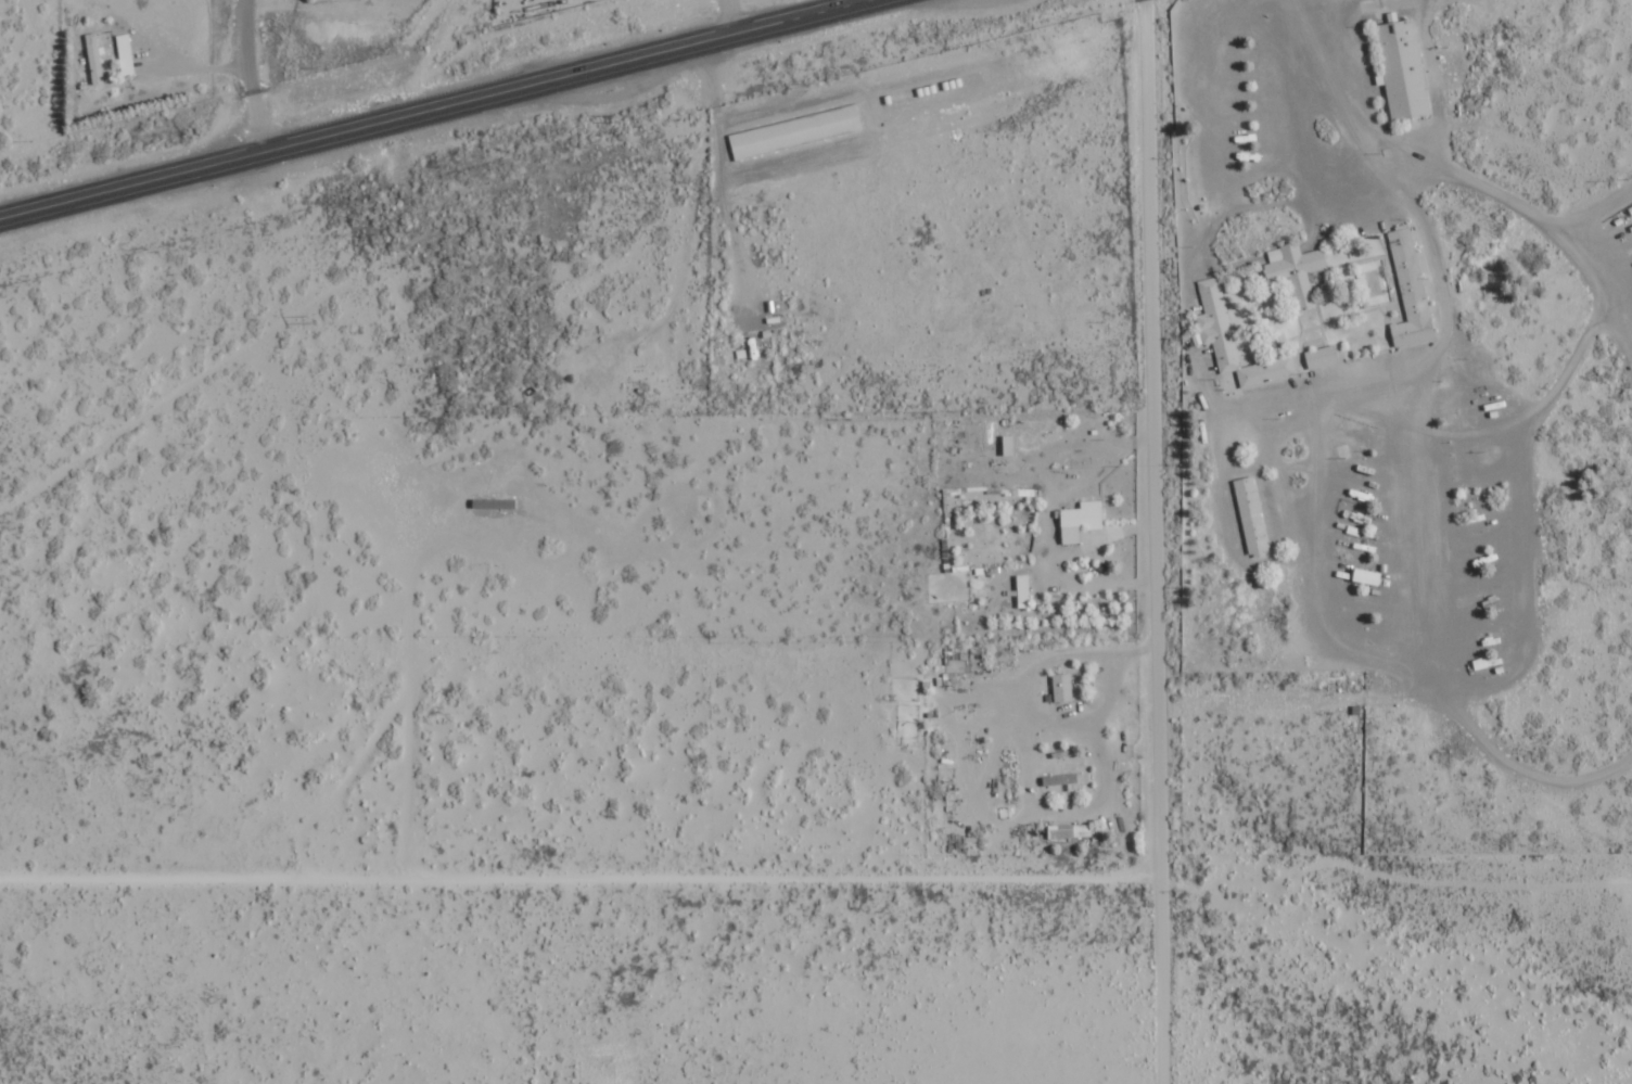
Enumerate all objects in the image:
road: (731, 16)
road: (1312, 35)
building: (126, 54)
building: (94, 59)
building: (1408, 75)
road: (251, 76)
road: (433, 109)
building: (795, 131)
road: (735, 174)
road: (1515, 207)
road: (1590, 214)
building: (1296, 270)
road: (345, 283)
building: (1411, 291)
building: (1234, 340)
building: (1322, 357)
building: (1009, 445)
road: (1423, 484)
building: (1252, 517)
road: (1529, 519)
building: (1081, 520)
road: (1151, 541)
building: (1368, 577)
building: (1023, 591)
building: (1063, 688)
building: (1062, 780)
building: (1070, 830)
road: (578, 876)

